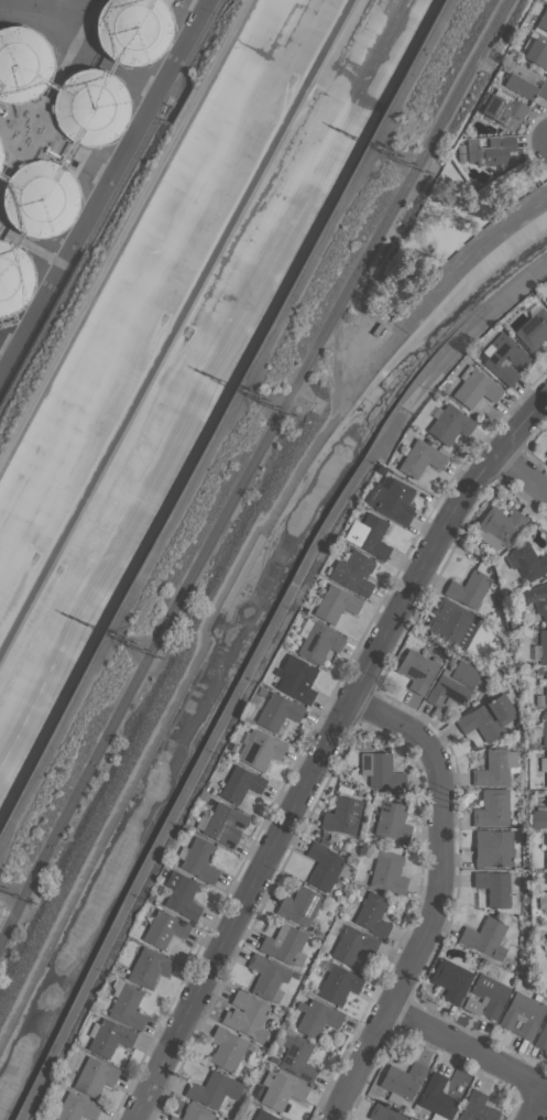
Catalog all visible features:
building: (543, 21)
building: (133, 30)
storage tank: (133, 30)
building: (536, 54)
building: (22, 64)
storage tank: (22, 64)
building: (525, 81)
building: (91, 108)
storage tank: (91, 108)
building: (503, 110)
power tower: (376, 145)
building: (491, 150)
wastewater plant: (79, 151)
road: (103, 185)
building: (41, 197)
storage tank: (41, 197)
road: (123, 230)
road: (395, 231)
building: (13, 279)
storage tank: (13, 279)
building: (546, 300)
river: (178, 326)
building: (533, 329)
building: (505, 359)
power tower: (242, 389)
building: (474, 389)
building: (449, 424)
building: (546, 454)
building: (546, 455)
building: (420, 458)
road: (251, 472)
road: (522, 475)
building: (392, 500)
building: (500, 526)
building: (368, 535)
building: (526, 562)
building: (353, 573)
building: (468, 589)
building: (536, 598)
building: (336, 604)
building: (451, 623)
power tower: (110, 633)
building: (319, 642)
building: (543, 648)
building: (416, 671)
building: (296, 678)
building: (451, 687)
building: (546, 688)
building: (277, 711)
building: (488, 717)
building: (544, 728)
building: (262, 750)
road: (327, 752)
building: (495, 768)
building: (546, 770)
building: (381, 771)
building: (240, 784)
building: (492, 808)
building: (341, 816)
building: (539, 817)
building: (391, 822)
building: (223, 824)
building: (492, 848)
building: (546, 851)
building: (199, 860)
building: (324, 866)
building: (387, 873)
building: (494, 888)
building: (546, 892)
building: (182, 895)
road: (436, 900)
building: (298, 905)
building: (372, 915)
building: (164, 928)
building: (546, 936)
building: (485, 938)
building: (284, 945)
building: (352, 945)
building: (150, 967)
building: (266, 977)
building: (450, 980)
building: (338, 985)
building: (485, 997)
building: (127, 1007)
building: (522, 1014)
building: (247, 1015)
building: (316, 1018)
building: (541, 1037)
building: (109, 1039)
building: (226, 1050)
road: (467, 1056)
building: (297, 1057)
building: (94, 1076)
building: (403, 1079)
building: (212, 1089)
building: (281, 1090)
building: (437, 1097)
road: (536, 1107)
building: (76, 1108)
building: (477, 1108)
building: (193, 1113)
building: (384, 1113)
building: (264, 1116)

